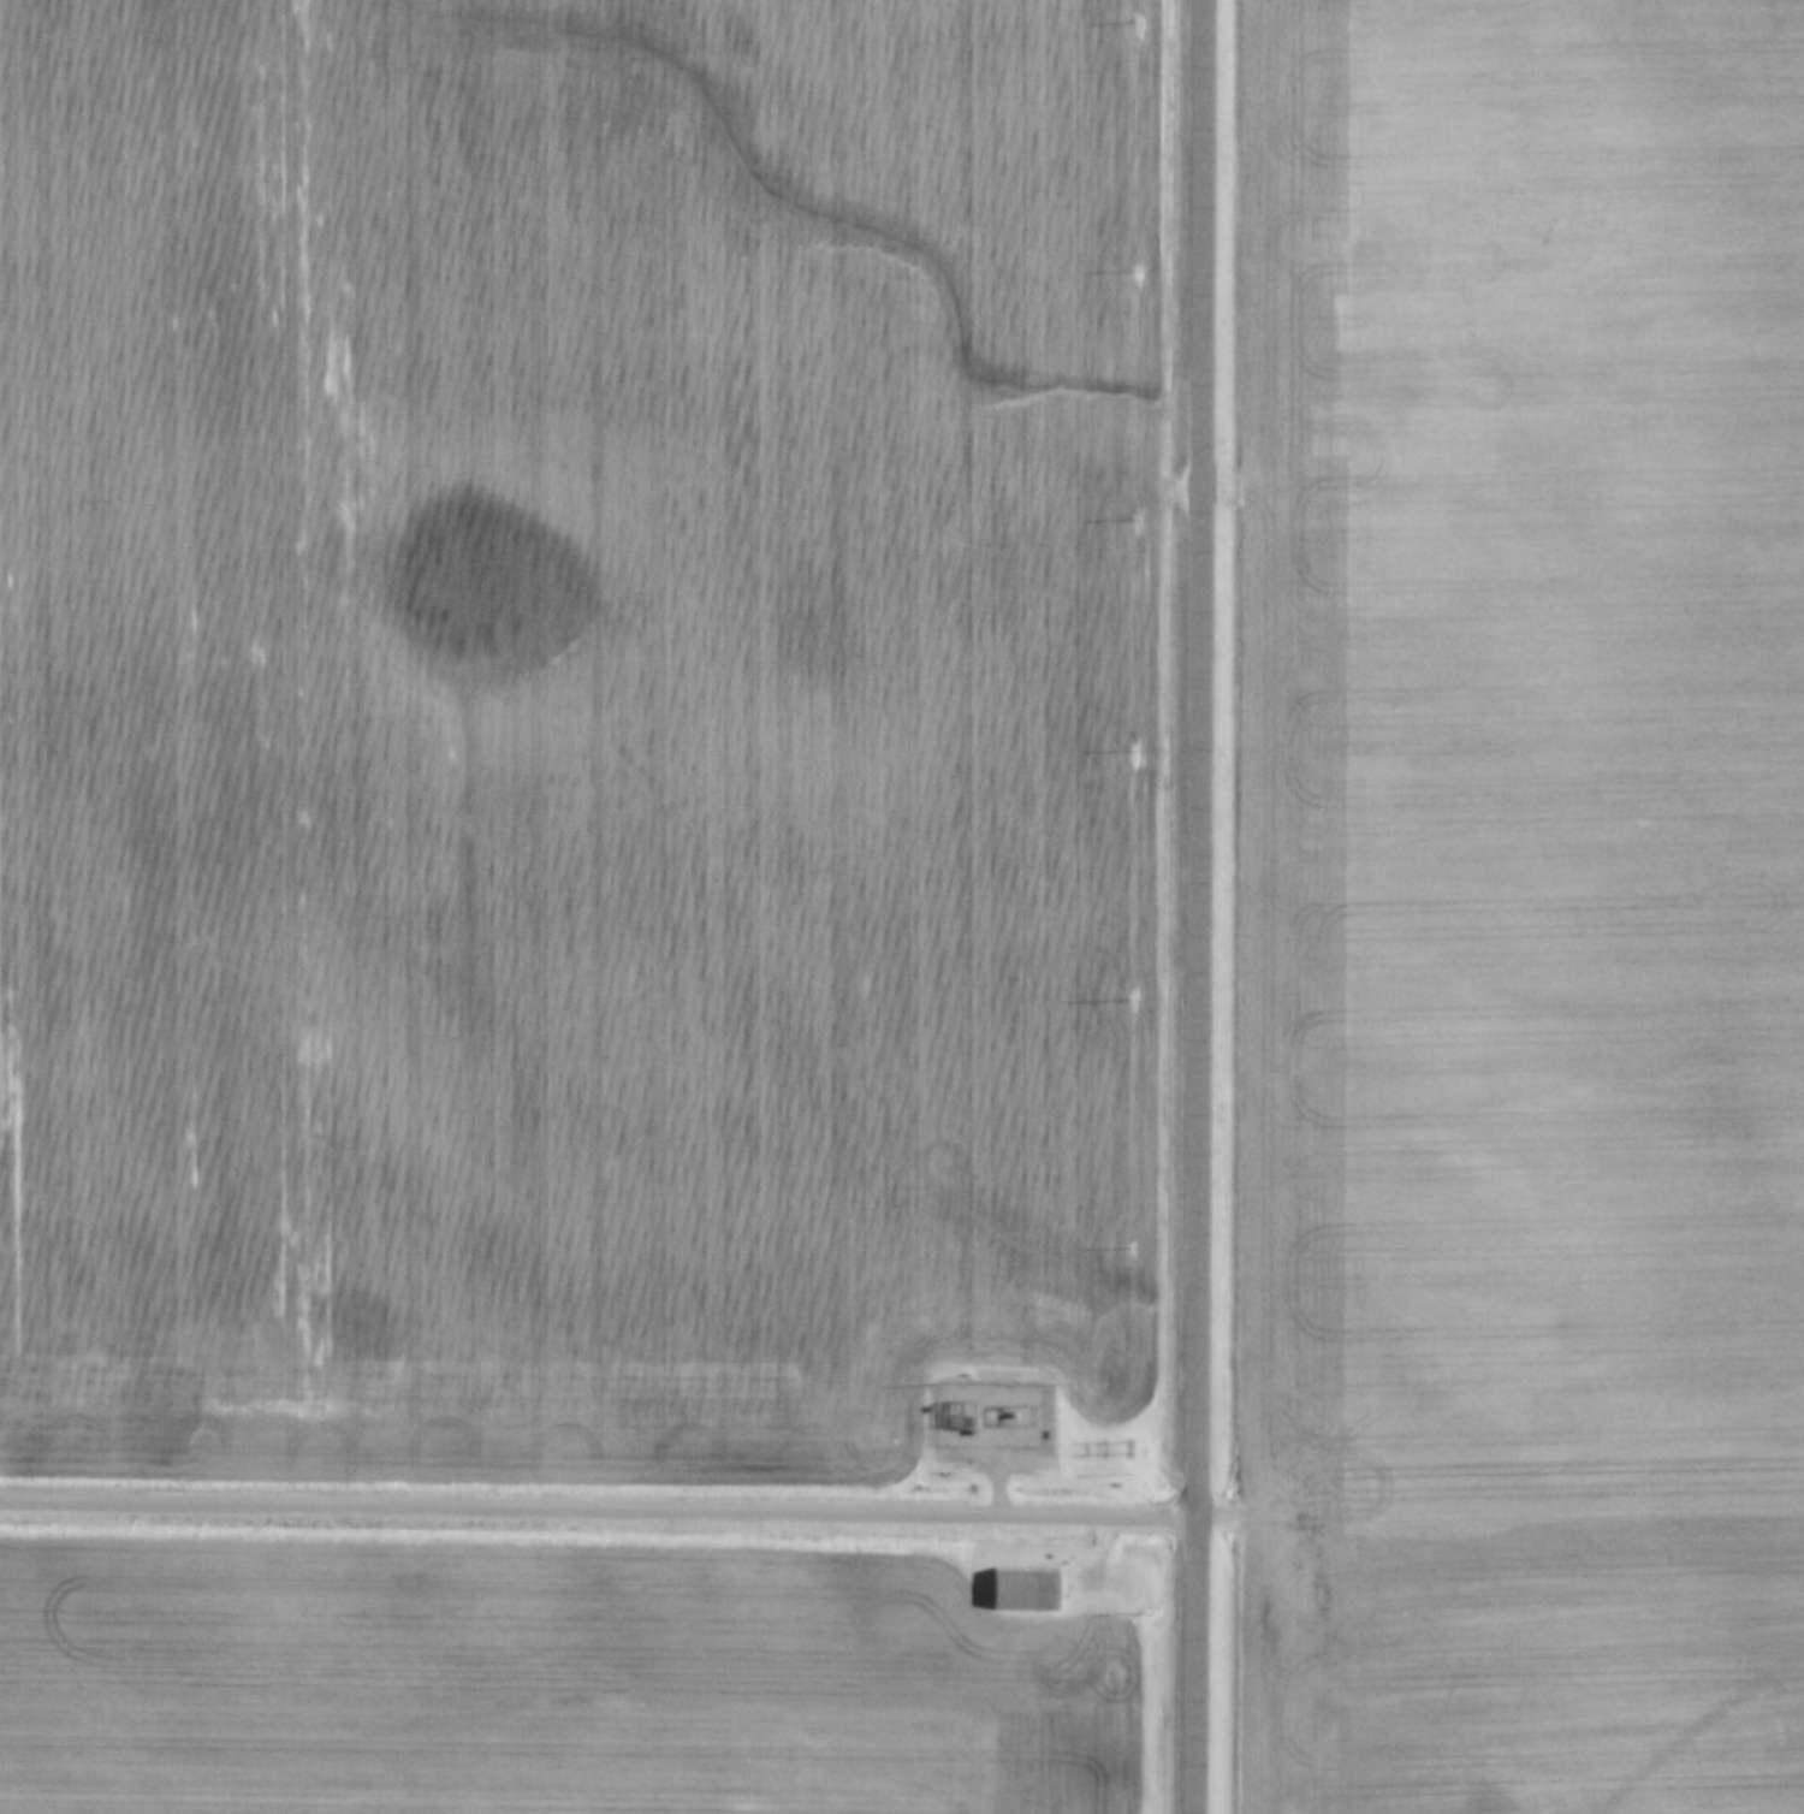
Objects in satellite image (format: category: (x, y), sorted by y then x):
road: (1203, 906)
building: (965, 1399)
power substation: (991, 1413)
power tower: (1131, 1424)
road: (601, 1510)
building: (1022, 1589)

